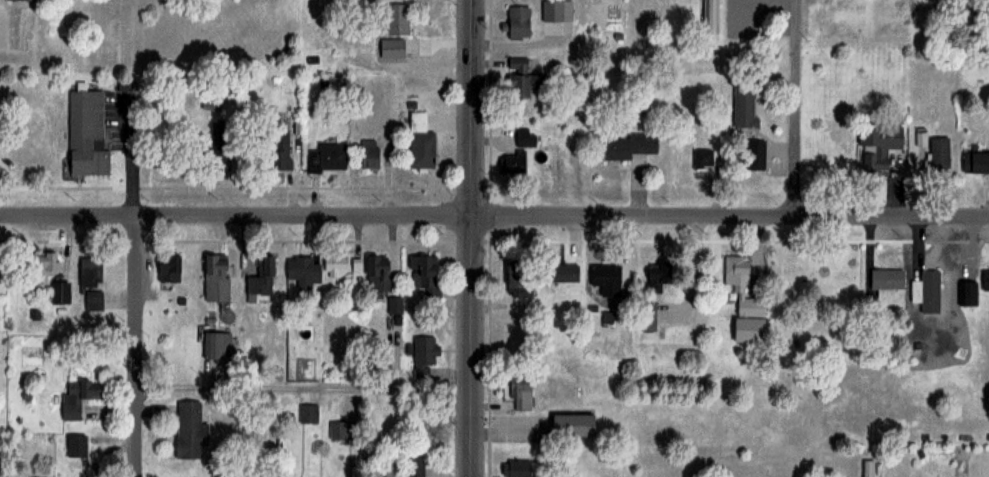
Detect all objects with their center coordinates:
building: (18, 0)
building: (557, 10)
building: (711, 16)
building: (396, 19)
building: (518, 22)
building: (522, 80)
building: (211, 100)
building: (744, 105)
road: (794, 108)
building: (85, 132)
building: (420, 142)
building: (626, 145)
building: (877, 146)
building: (279, 151)
building: (939, 152)
building: (518, 153)
building: (369, 154)
building: (751, 154)
building: (218, 157)
building: (327, 157)
building: (703, 157)
road: (129, 159)
building: (975, 163)
road: (494, 216)
road: (470, 238)
building: (43, 266)
building: (335, 266)
building: (168, 268)
building: (303, 271)
building: (562, 272)
building: (424, 274)
building: (377, 275)
building: (517, 276)
building: (605, 276)
building: (261, 277)
building: (215, 278)
building: (655, 278)
building: (985, 280)
building: (886, 281)
building: (90, 282)
building: (742, 286)
building: (926, 287)
building: (58, 293)
building: (645, 314)
road: (132, 346)
building: (215, 346)
building: (423, 354)
road: (301, 387)
building: (522, 395)
building: (77, 397)
building: (308, 413)
building: (572, 425)
building: (187, 429)
road: (500, 432)
building: (74, 446)
building: (392, 467)
building: (414, 467)
building: (515, 468)

